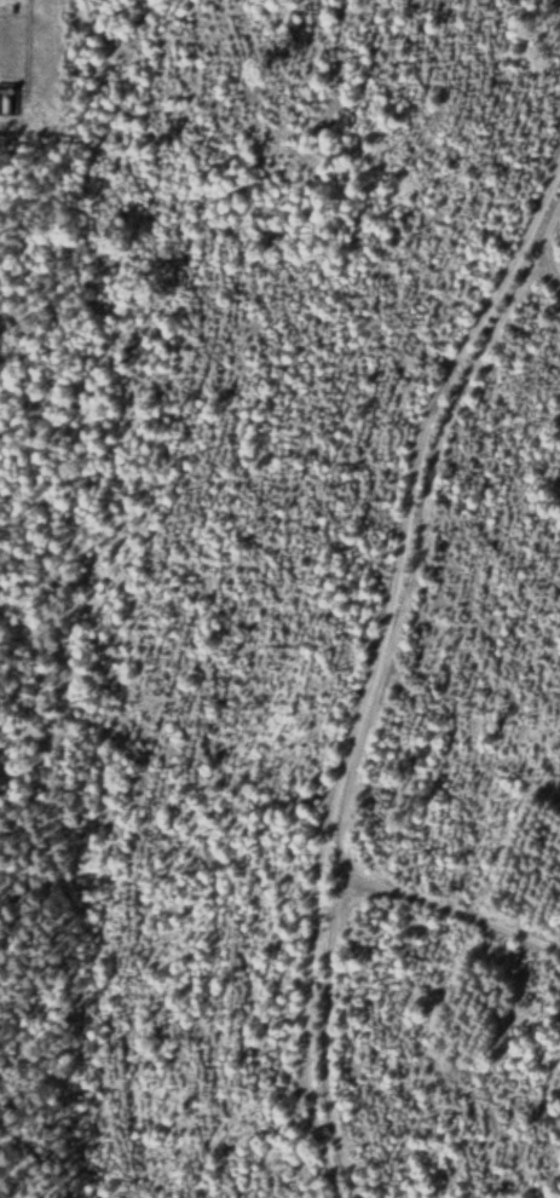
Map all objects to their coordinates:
road: (366, 670)
road: (387, 692)
road: (440, 895)

